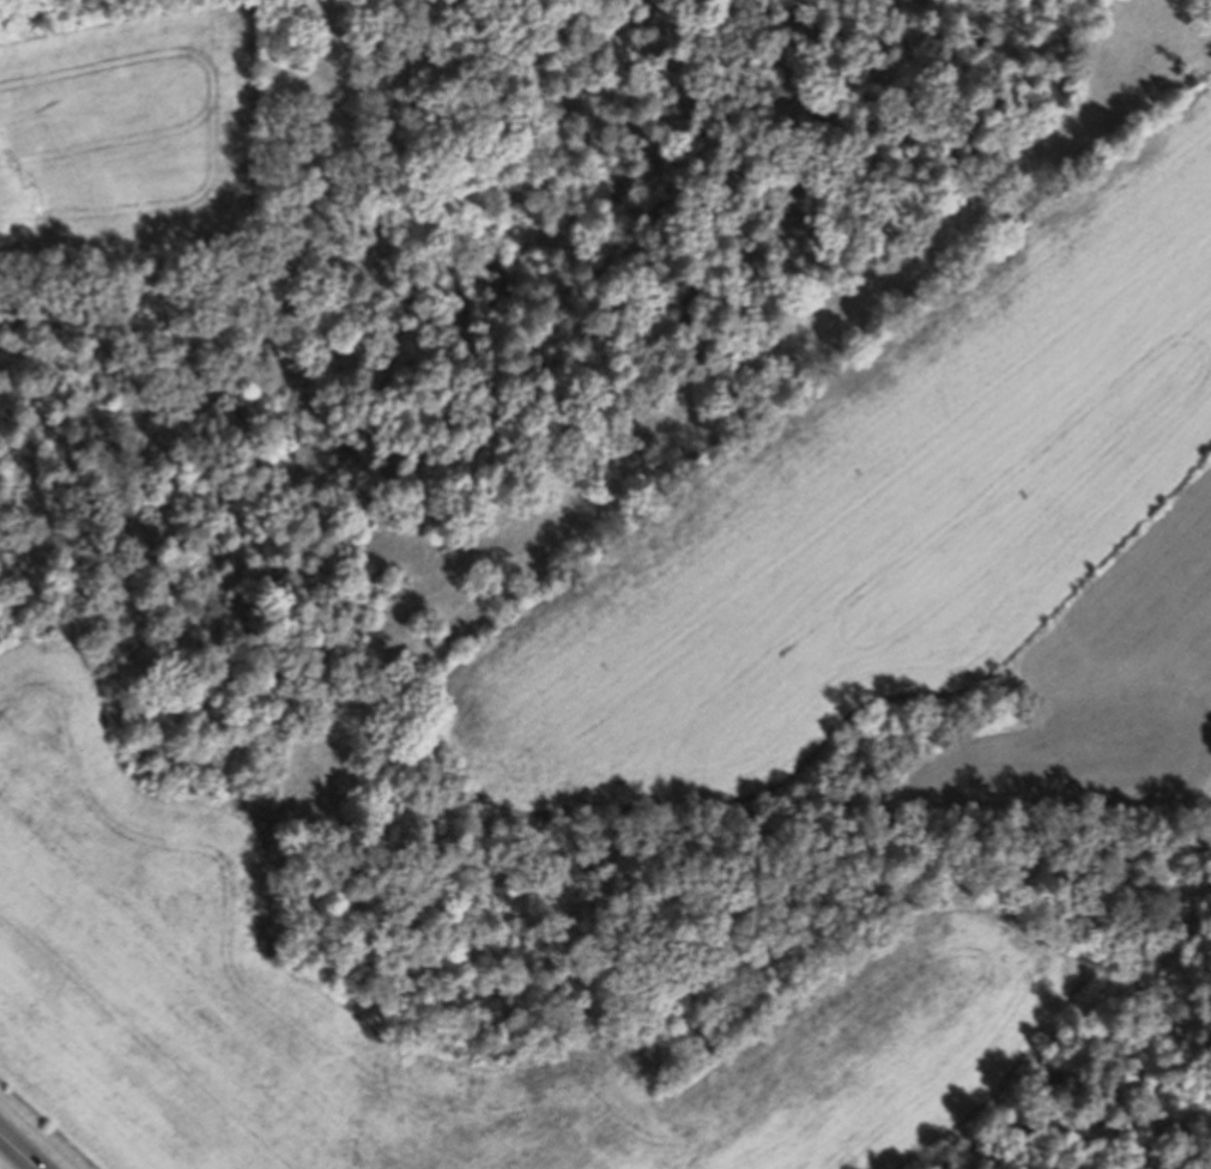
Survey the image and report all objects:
road: (14, 1155)

